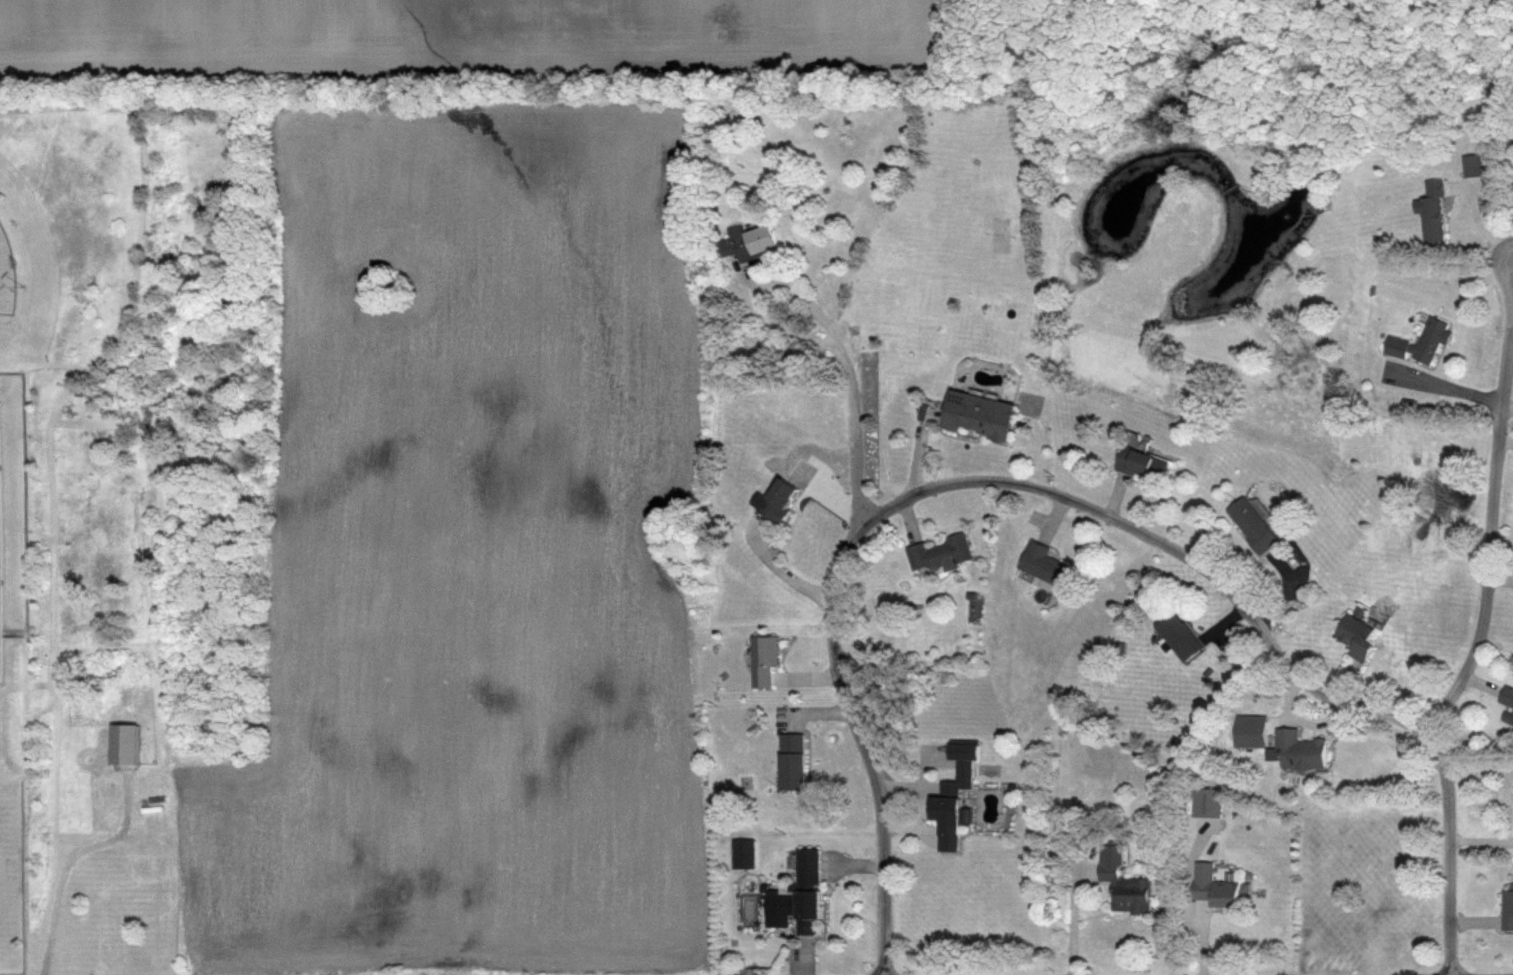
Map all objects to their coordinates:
crop: (469, 43)
building: (1473, 165)
building: (1432, 212)
building: (750, 242)
road: (1495, 261)
park: (5, 273)
road: (791, 286)
building: (1421, 340)
road: (1449, 384)
road: (1509, 384)
building: (978, 413)
building: (1144, 463)
building: (779, 499)
road: (23, 501)
building: (1253, 523)
road: (1493, 531)
road: (1161, 538)
crop: (479, 547)
building: (940, 552)
building: (1045, 563)
road: (782, 572)
building: (1357, 633)
building: (1179, 634)
building: (765, 659)
road: (836, 660)
building: (0, 669)
building: (1507, 701)
building: (123, 741)
building: (1298, 750)
building: (792, 759)
building: (952, 803)
road: (1482, 840)
road: (1452, 844)
road: (67, 864)
building: (150, 866)
building: (1214, 885)
building: (1126, 889)
building: (804, 893)
building: (1508, 908)
road: (1078, 912)

